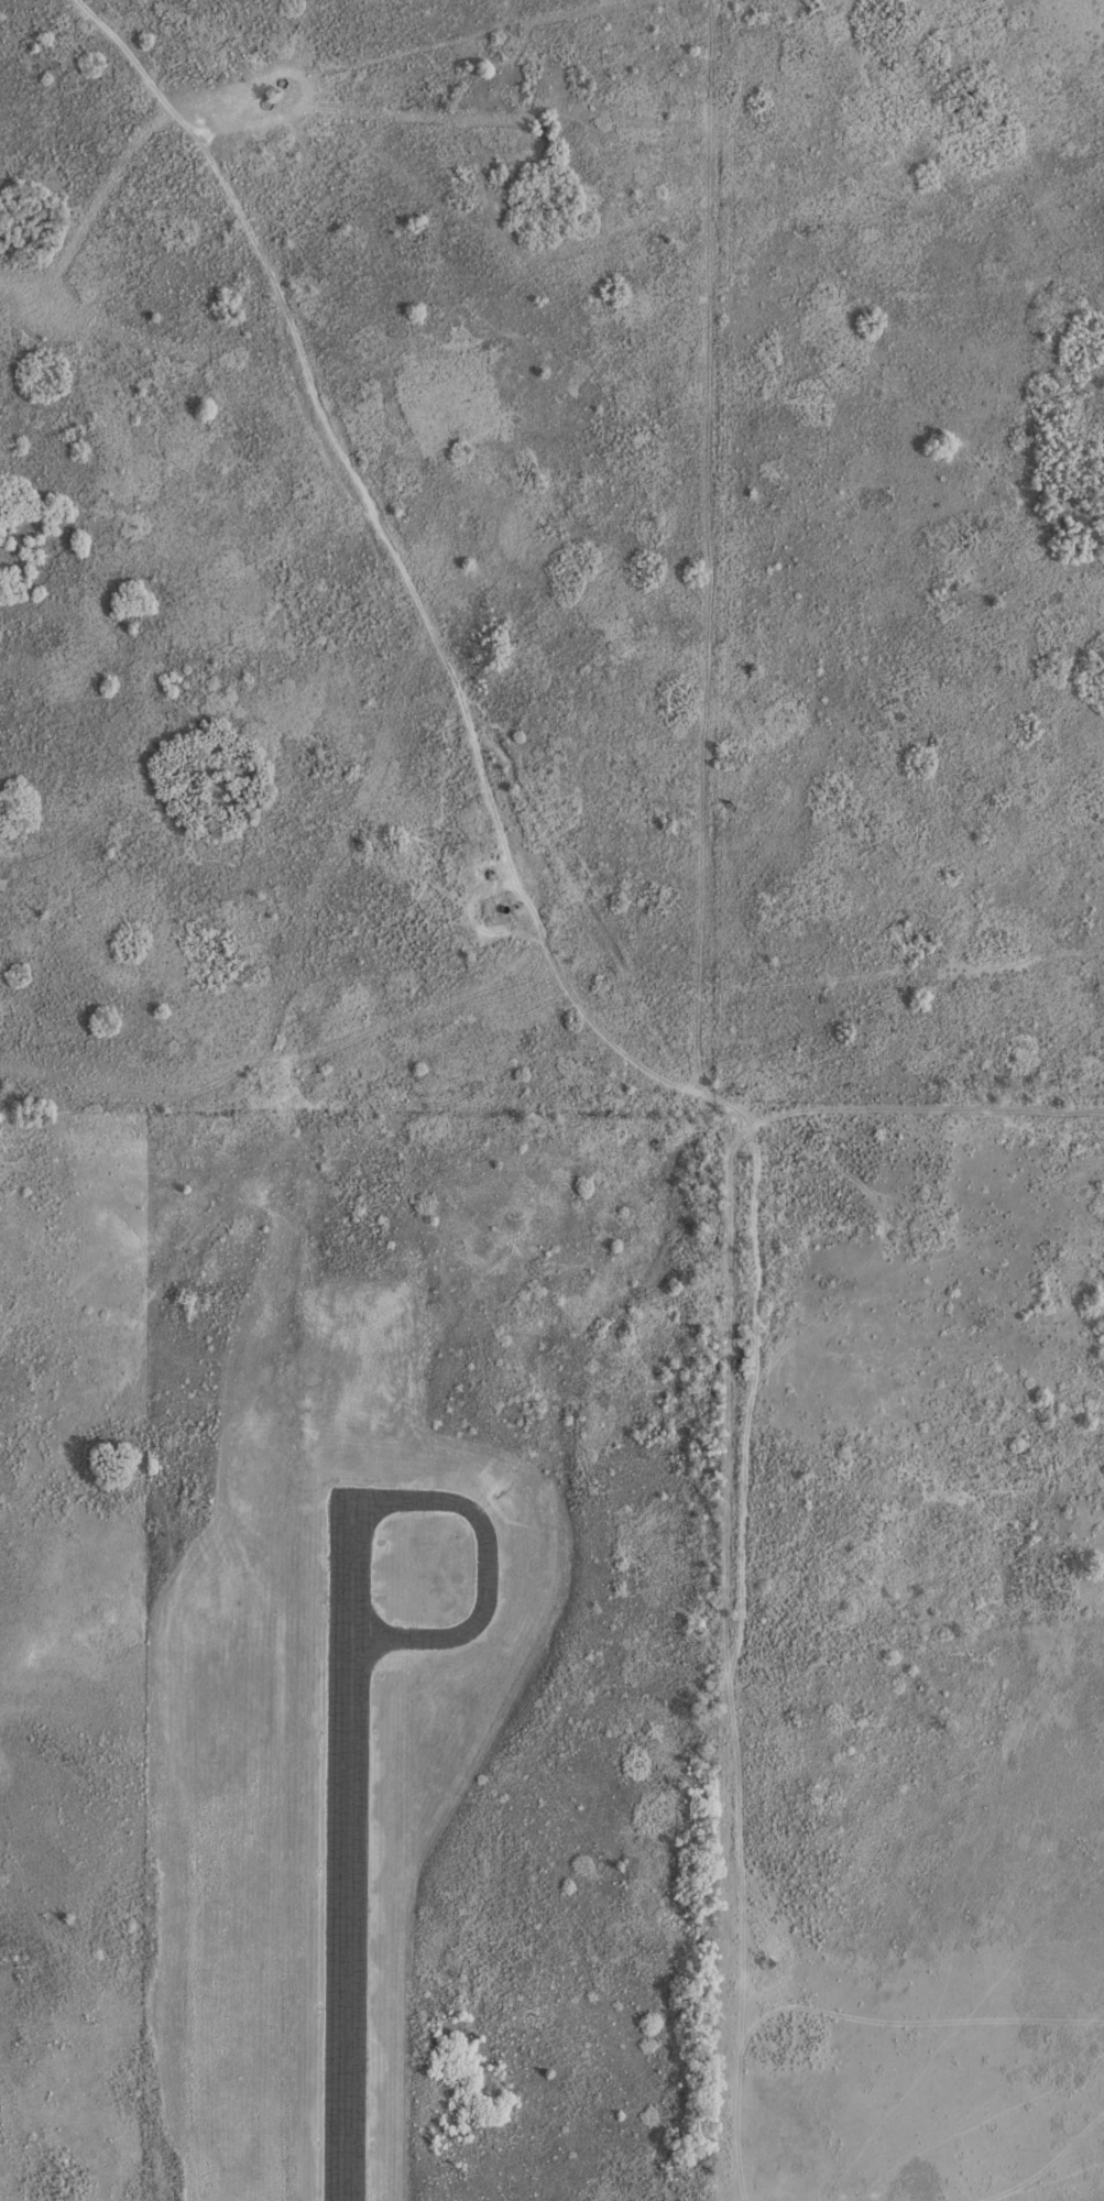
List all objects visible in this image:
airport taxiway: (487, 1564)
airport: (424, 1654)
airport runway: (348, 1843)

